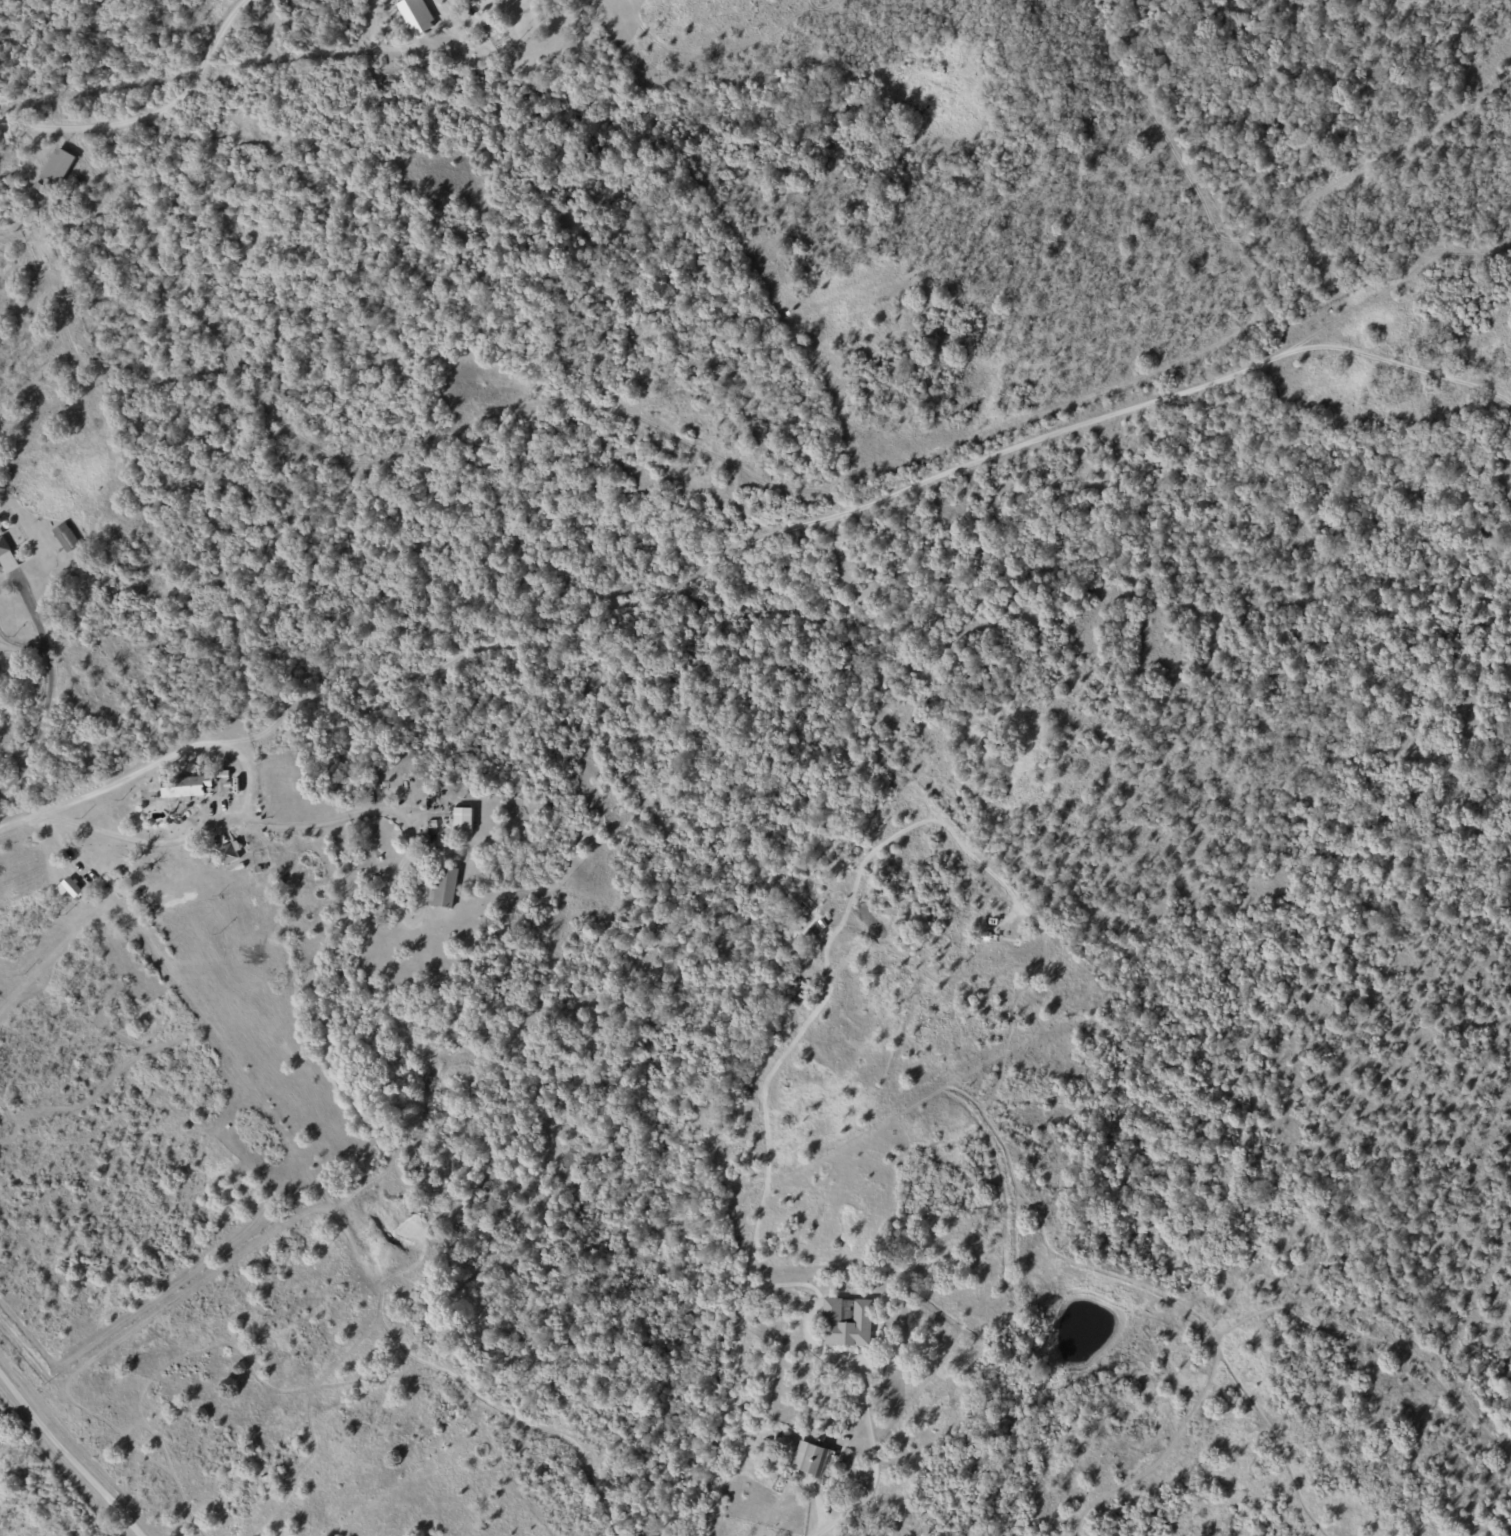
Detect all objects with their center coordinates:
building: (417, 16)
road: (150, 116)
building: (59, 165)
road: (969, 465)
building: (67, 537)
building: (6, 557)
road: (222, 742)
building: (185, 785)
building: (464, 819)
road: (326, 821)
road: (187, 838)
building: (229, 853)
building: (70, 887)
building: (446, 887)
road: (207, 1059)
road: (765, 1086)
building: (848, 1322)
road: (64, 1459)
building: (816, 1460)
road: (867, 1466)

